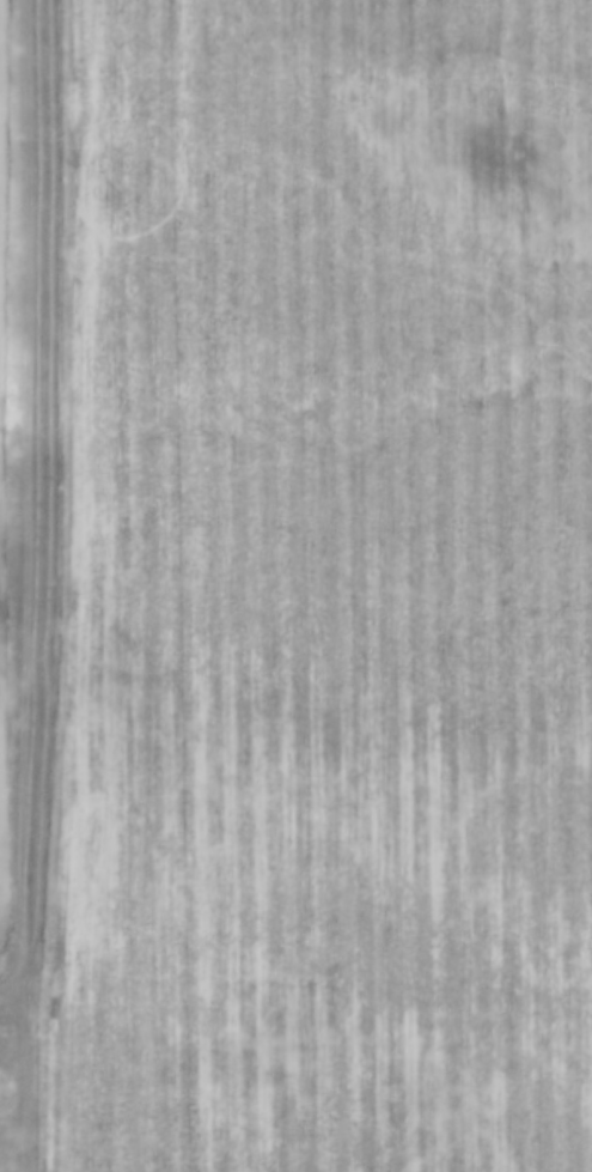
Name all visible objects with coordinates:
road: (30, 508)
road: (14, 1016)

